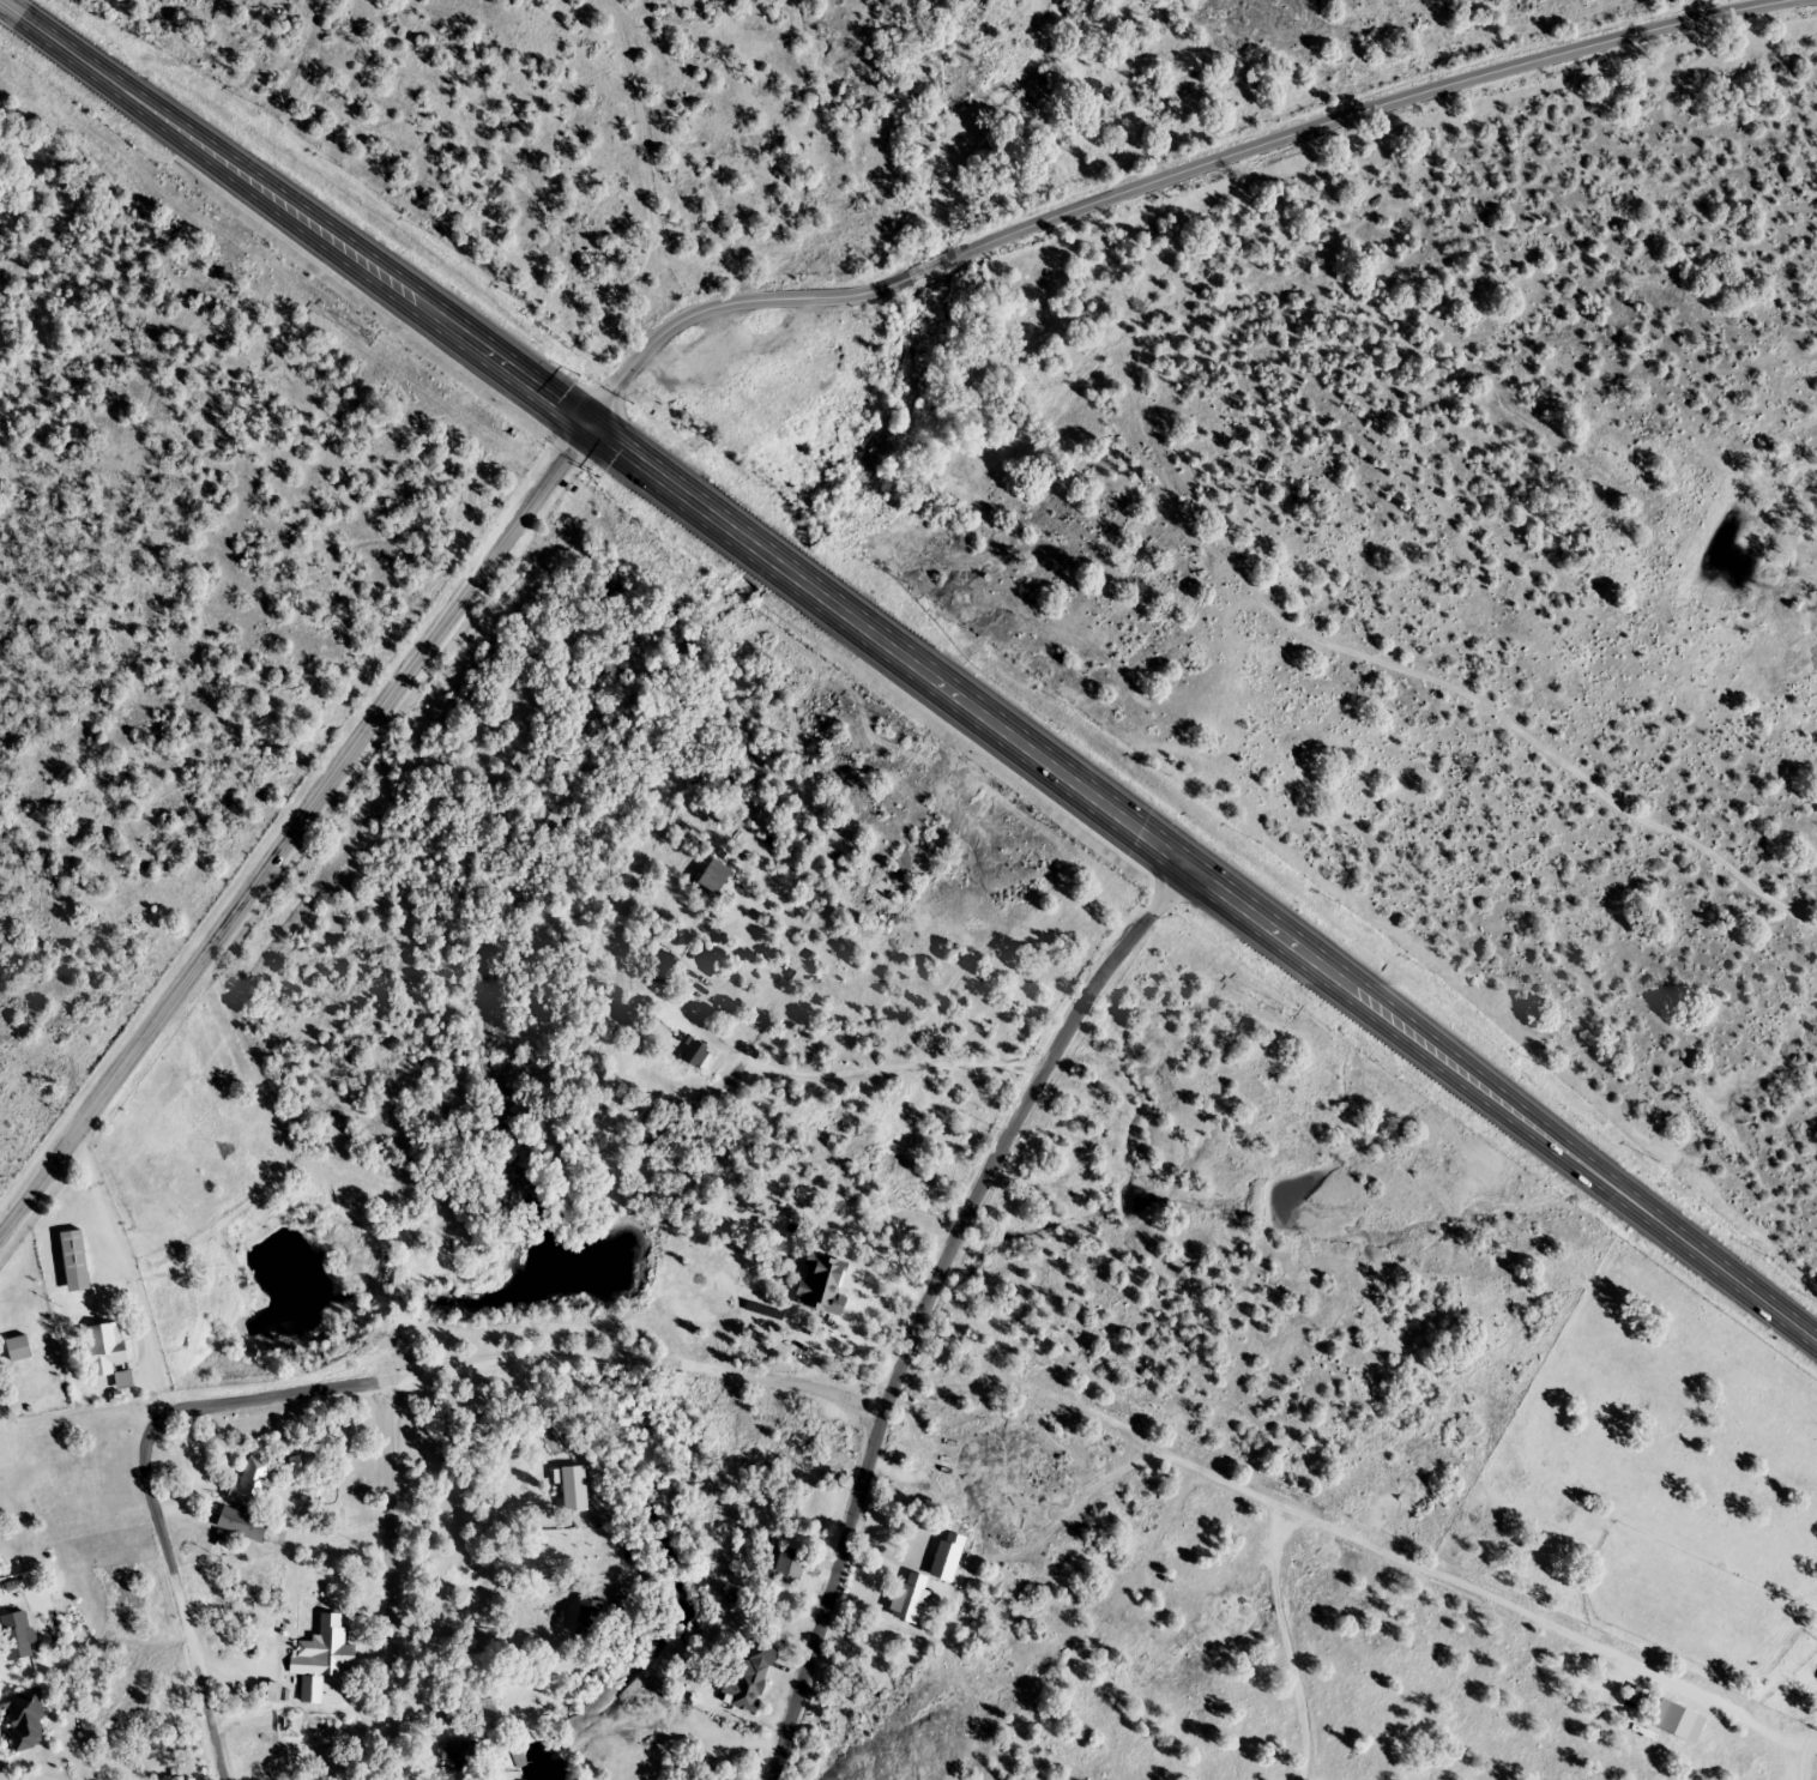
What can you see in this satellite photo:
road: (1169, 182)
power tower: (374, 337)
road: (907, 675)
power tower: (918, 738)
road: (292, 832)
power tower: (1291, 1013)
road: (829, 1078)
building: (74, 1262)
road: (925, 1303)
building: (105, 1348)
building: (17, 1350)
road: (483, 1357)
building: (254, 1485)
building: (242, 1525)
road: (1366, 1525)
building: (946, 1561)
building: (789, 1565)
road: (384, 1574)
road: (189, 1599)
building: (910, 1599)
building: (17, 1635)
building: (332, 1643)
road: (1425, 1670)
building: (748, 1685)
building: (25, 1720)
building: (1680, 1720)
road: (1812, 1733)
building: (458, 1755)

